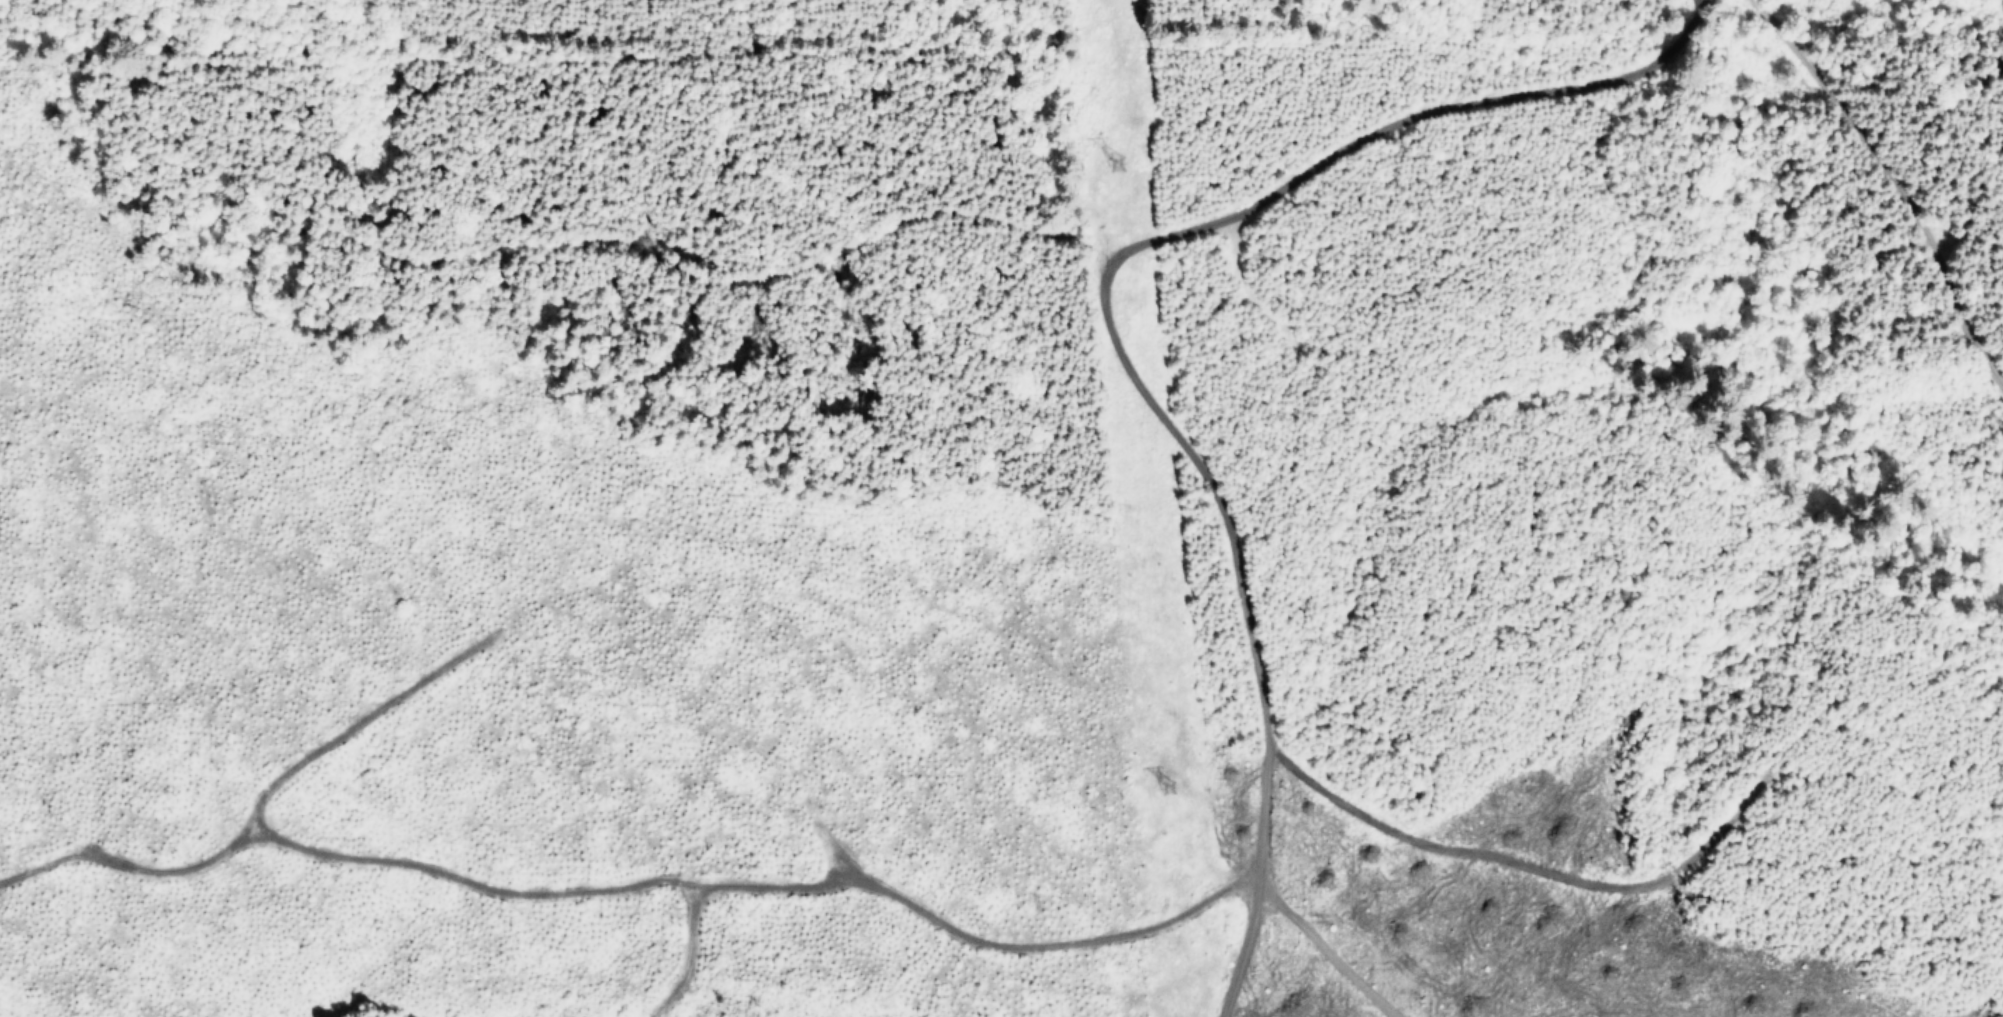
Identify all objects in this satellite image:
road: (1891, 170)

